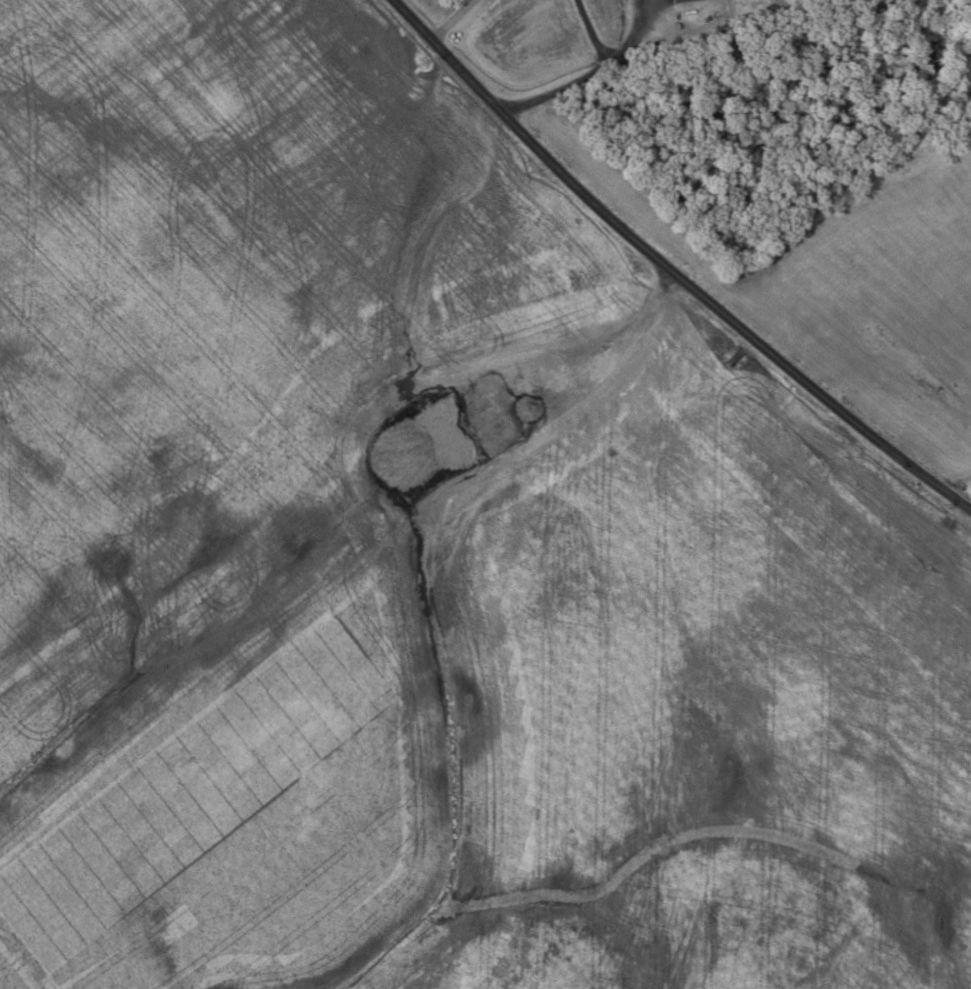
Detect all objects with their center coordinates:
building: (806, 0)
building: (682, 1)
crop: (609, 18)
road: (453, 20)
building: (678, 27)
road: (594, 32)
road: (591, 74)
road: (670, 269)
crop: (848, 278)
road: (608, 350)
crop: (969, 491)
crop: (423, 563)

